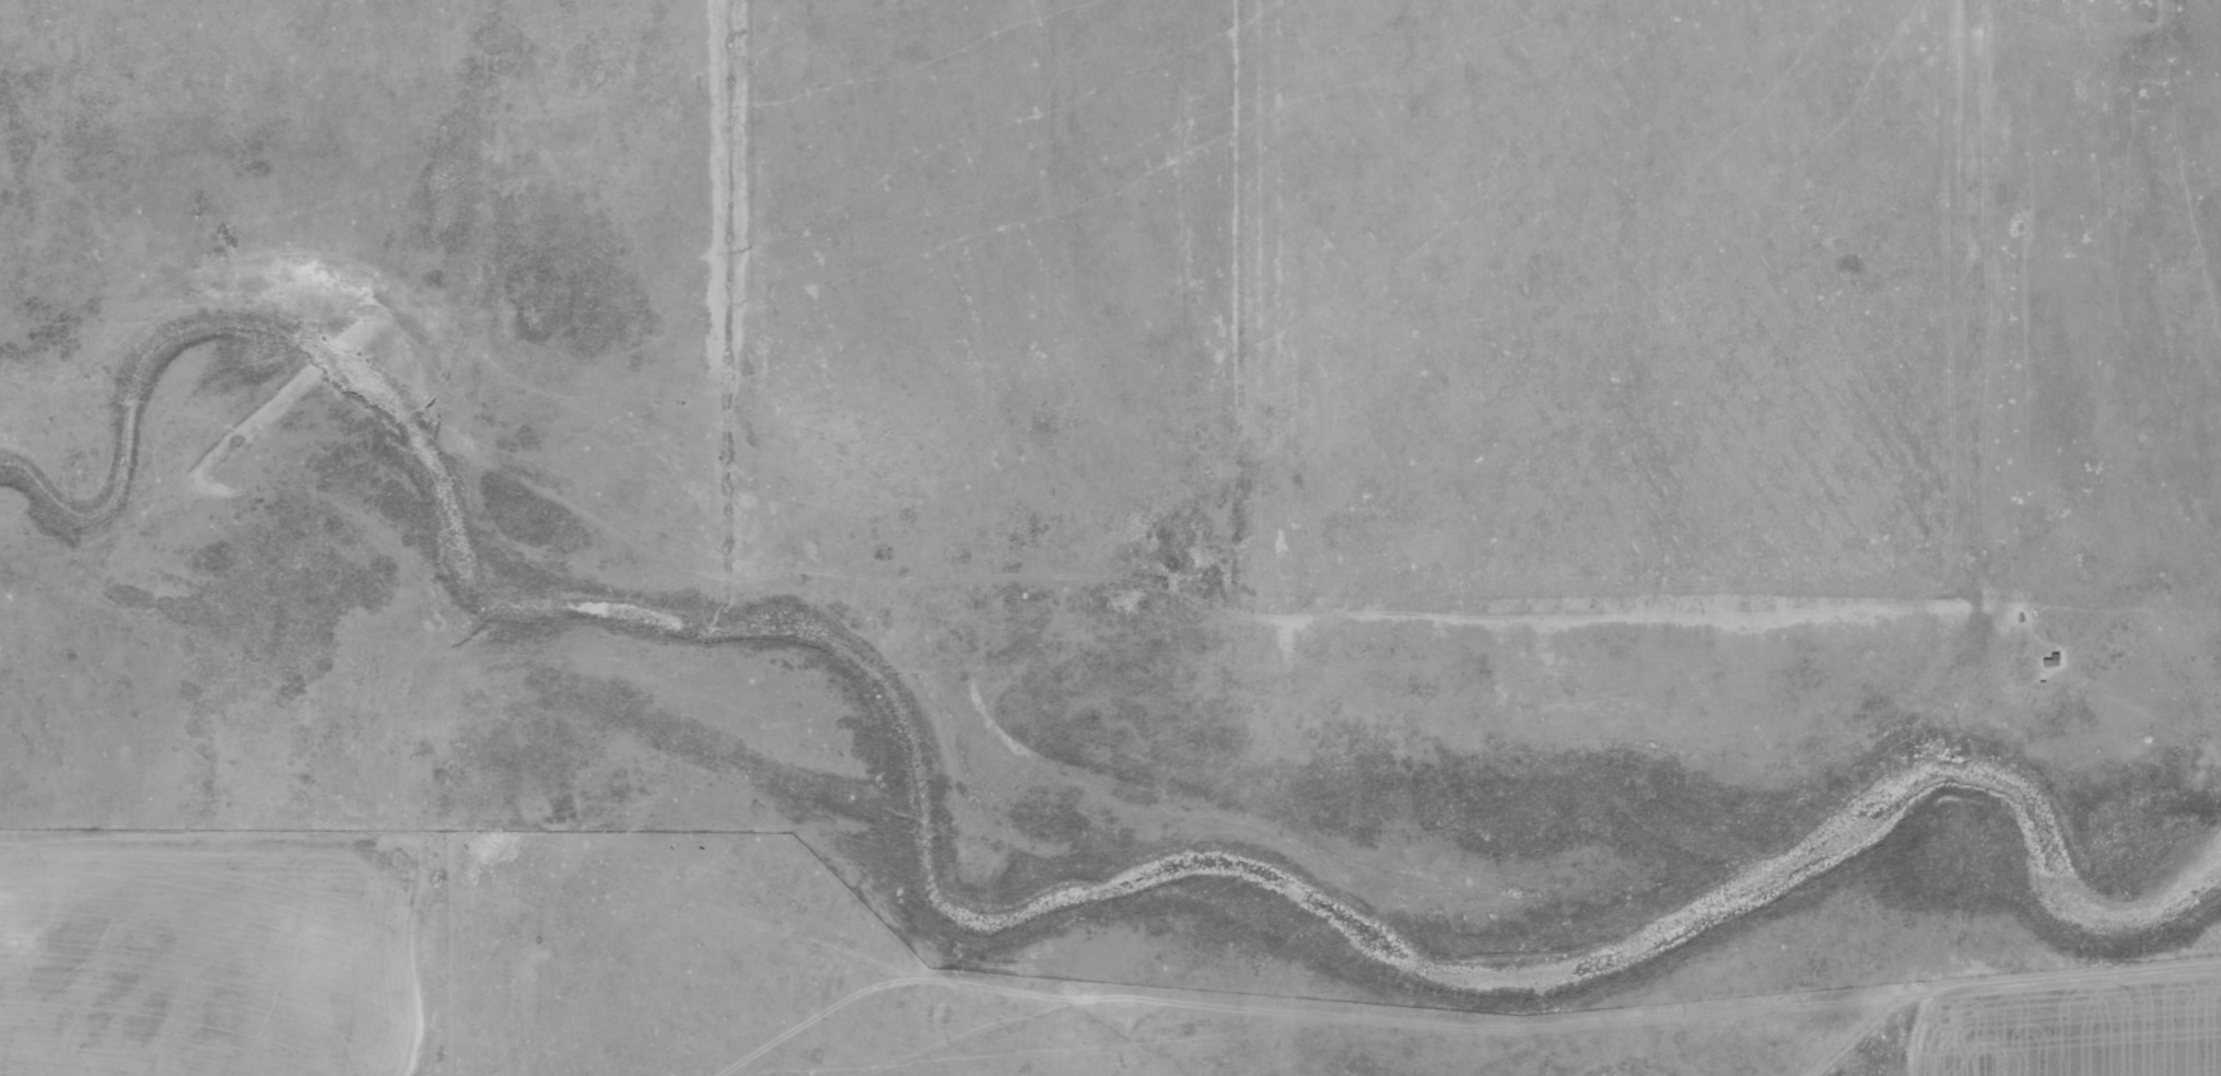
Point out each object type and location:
building: (2053, 660)

